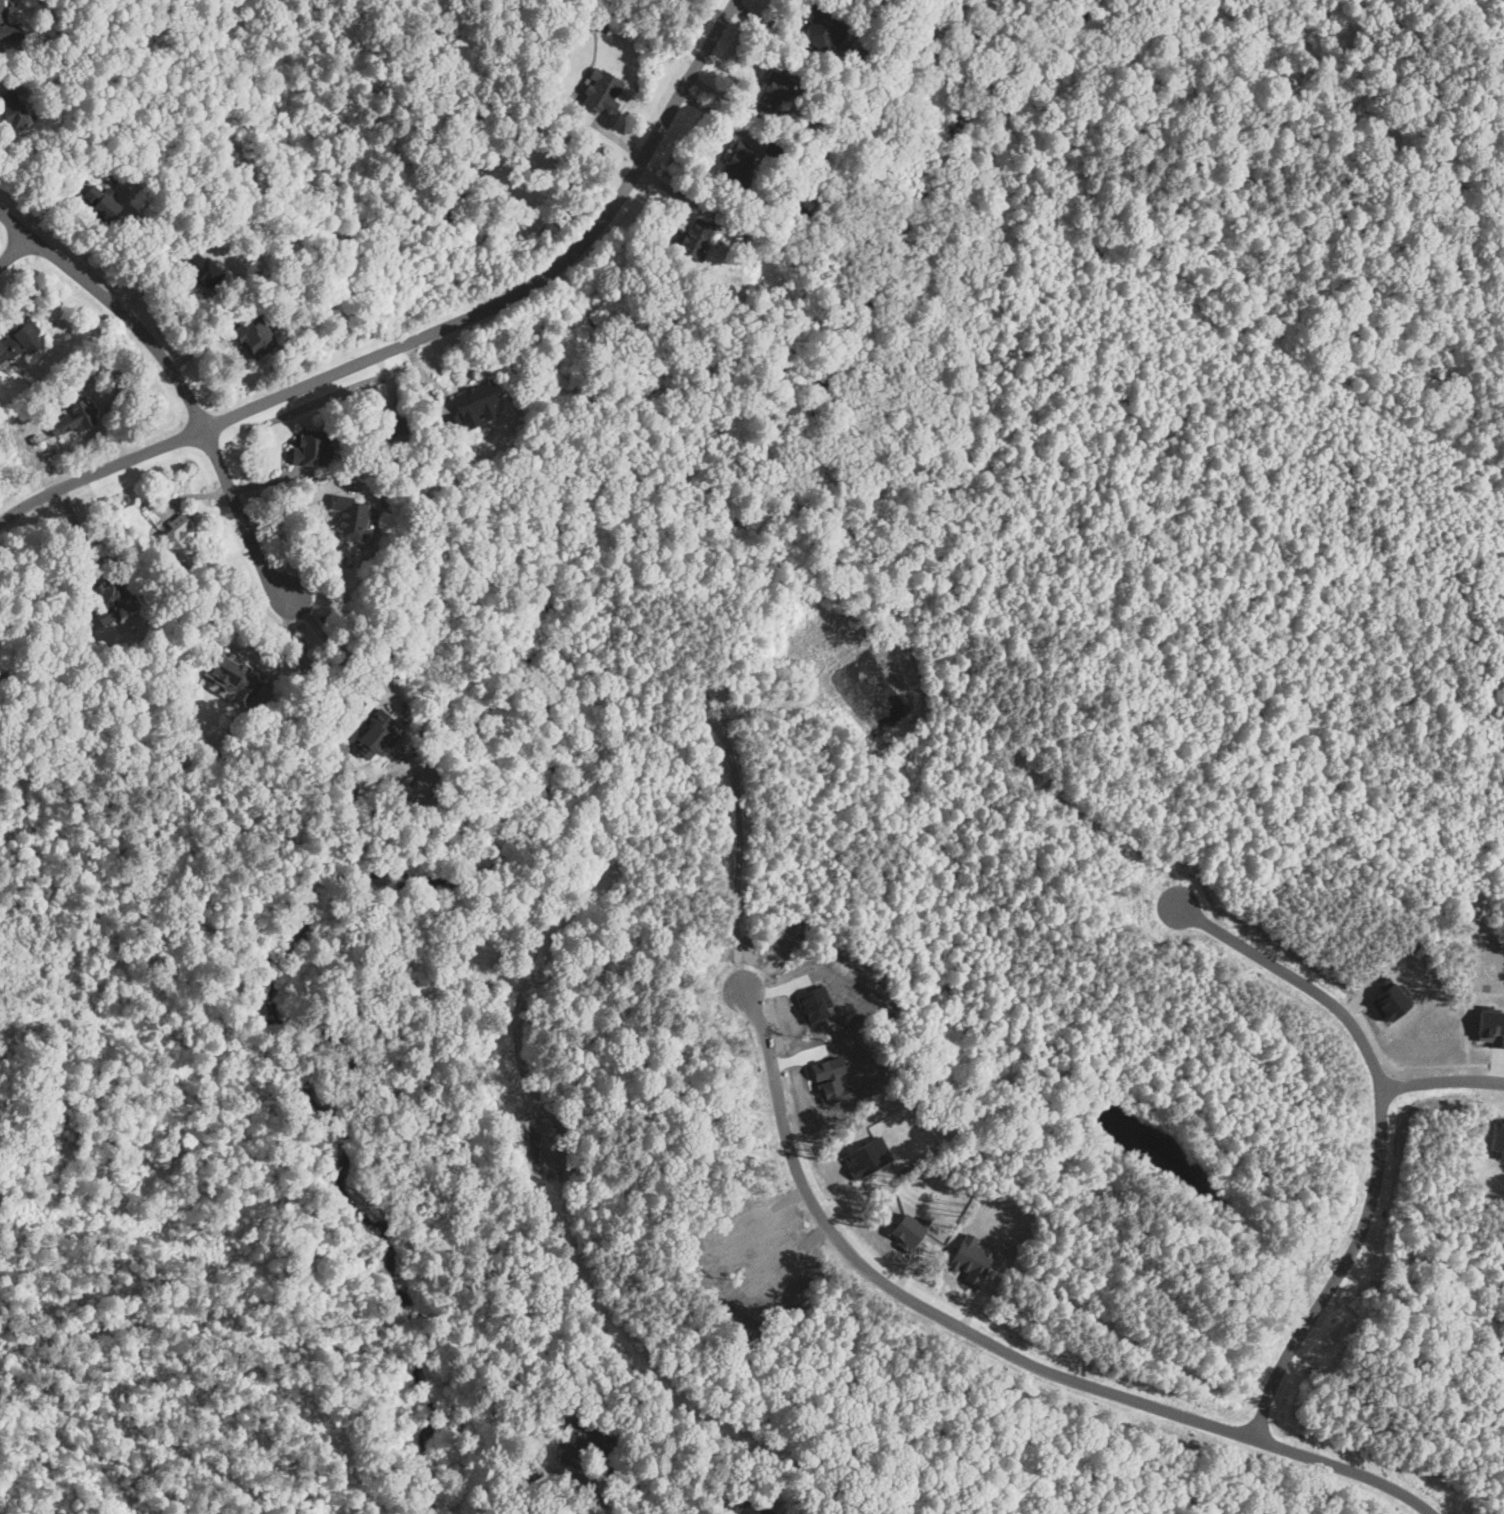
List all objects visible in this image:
building: (8, 26)
building: (822, 28)
road: (5, 49)
road: (689, 77)
building: (777, 91)
building: (601, 92)
building: (13, 110)
building: (738, 164)
building: (100, 204)
building: (691, 236)
road: (15, 248)
building: (201, 269)
building: (255, 336)
building: (23, 337)
building: (2, 344)
road: (346, 368)
road: (177, 380)
building: (472, 404)
building: (74, 413)
building: (397, 426)
building: (314, 447)
road: (292, 506)
building: (352, 516)
building: (179, 540)
road: (82, 542)
building: (108, 599)
road: (345, 648)
building: (233, 675)
building: (376, 733)
building: (421, 779)
building: (1389, 1001)
building: (1491, 1026)
road: (1442, 1079)
road: (1381, 1134)
building: (1496, 1135)
building: (866, 1156)
building: (906, 1230)
building: (970, 1258)
road: (999, 1347)
building: (596, 1439)
building: (753, 1503)

